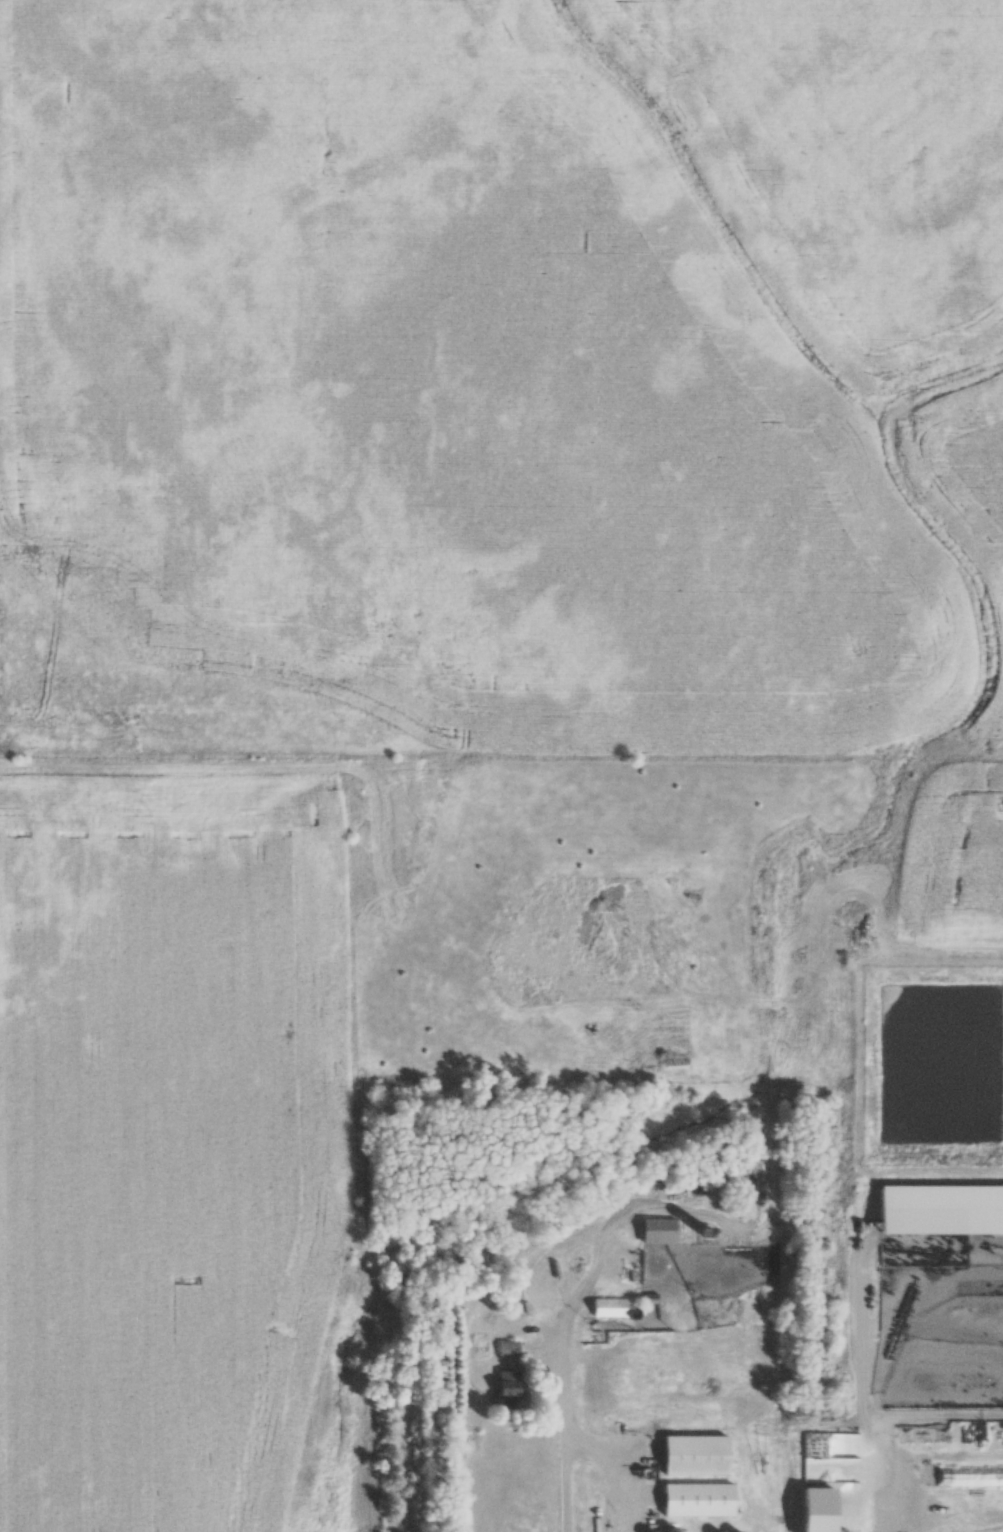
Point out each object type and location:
building: (655, 1232)
building: (616, 1308)
building: (508, 1350)
building: (504, 1382)
road: (859, 1382)
road: (590, 1439)
building: (693, 1455)
building: (696, 1500)

